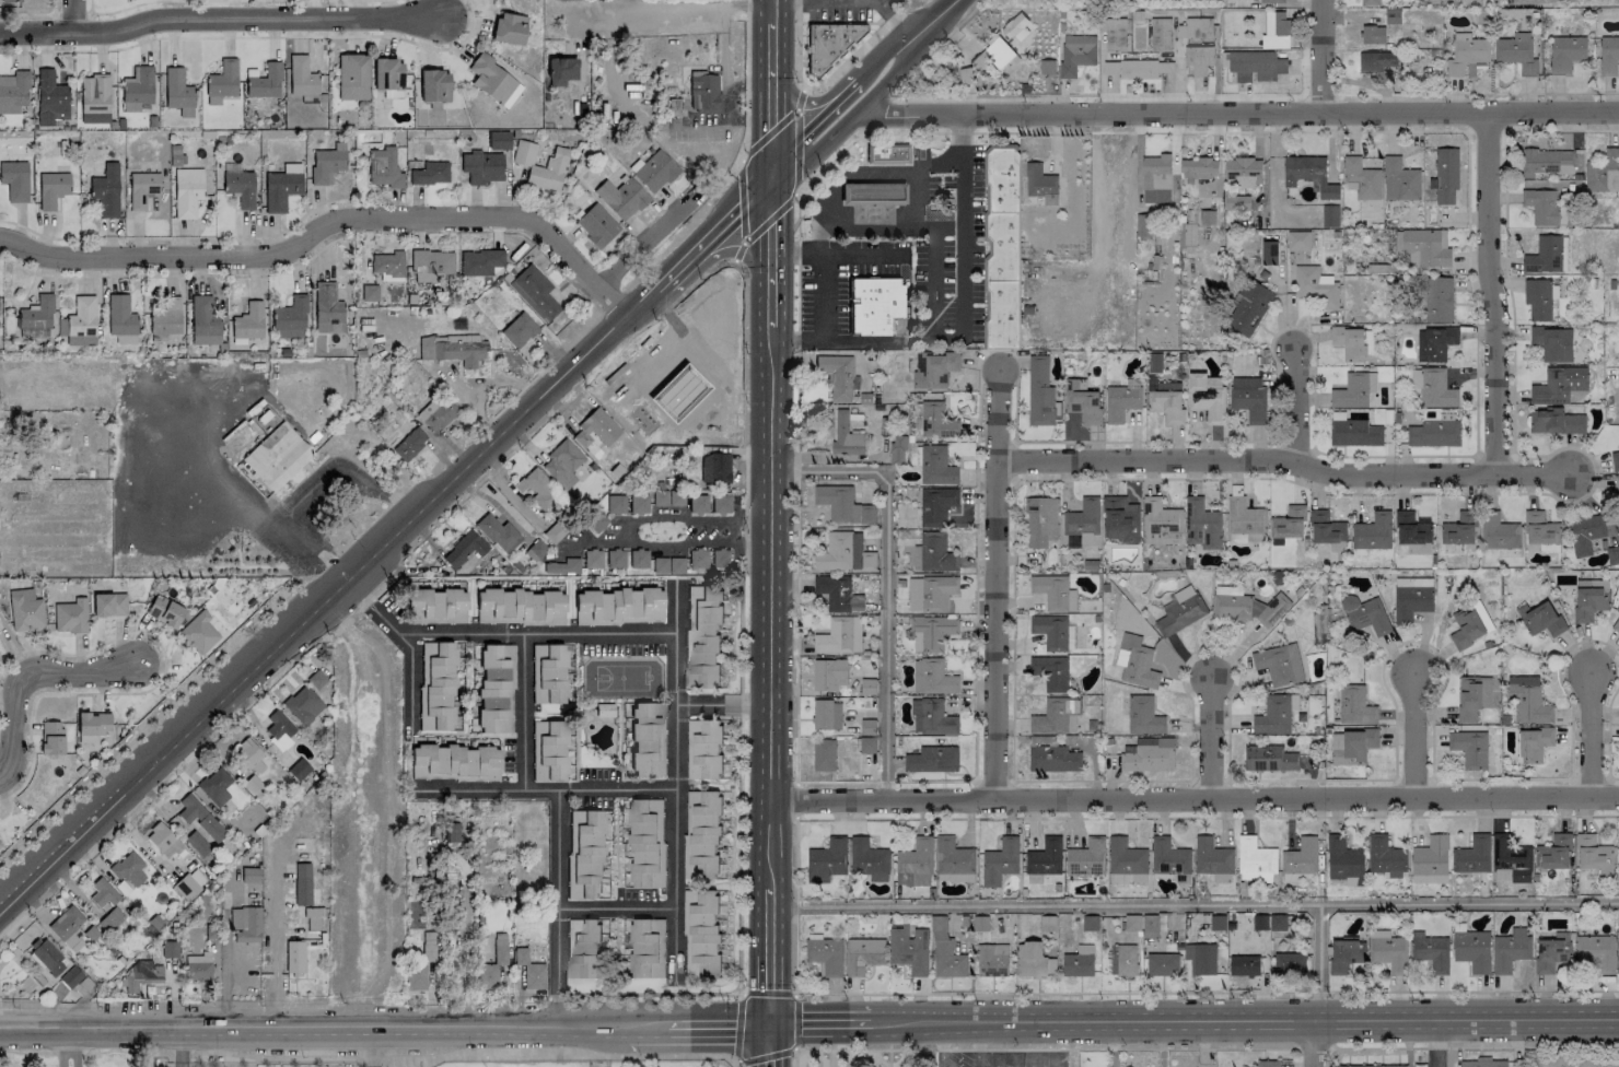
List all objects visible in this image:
building: (10, 0)
road: (787, 0)
building: (1271, 1)
building: (1370, 2)
road: (946, 3)
road: (120, 9)
road: (675, 10)
road: (31, 13)
road: (80, 15)
road: (890, 15)
road: (220, 17)
building: (509, 27)
building: (1198, 30)
road: (774, 31)
building: (1274, 31)
building: (1115, 33)
building: (1372, 34)
building: (1160, 35)
road: (896, 37)
road: (797, 44)
building: (828, 44)
building: (1516, 52)
building: (1075, 54)
building: (1466, 54)
building: (1565, 54)
building: (1608, 55)
road: (852, 56)
building: (994, 56)
road: (1319, 57)
building: (1198, 59)
building: (1375, 61)
road: (964, 62)
road: (1174, 66)
building: (1254, 66)
building: (1137, 69)
building: (560, 70)
road: (1100, 73)
building: (351, 77)
building: (387, 77)
building: (490, 79)
building: (302, 80)
building: (264, 81)
building: (221, 82)
building: (433, 85)
building: (136, 89)
road: (842, 89)
building: (13, 91)
road: (747, 91)
building: (177, 92)
building: (703, 93)
building: (50, 98)
building: (94, 98)
road: (802, 98)
road: (800, 99)
road: (865, 101)
road: (876, 114)
road: (1235, 114)
road: (774, 121)
road: (1483, 129)
road: (1560, 130)
road: (796, 134)
road: (767, 136)
building: (498, 139)
road: (796, 153)
building: (886, 154)
building: (1611, 157)
building: (1547, 162)
building: (326, 163)
road: (829, 163)
road: (886, 164)
building: (555, 165)
building: (481, 166)
building: (383, 167)
building: (1199, 168)
road: (871, 169)
building: (654, 172)
building: (1244, 172)
building: (430, 173)
building: (1308, 175)
building: (1445, 177)
building: (1155, 179)
building: (1361, 179)
building: (14, 180)
building: (1399, 180)
building: (1038, 181)
building: (238, 187)
building: (281, 187)
building: (51, 188)
building: (141, 188)
building: (105, 190)
building: (186, 191)
building: (870, 192)
building: (621, 198)
road: (741, 200)
building: (1236, 203)
building: (1541, 206)
road: (1094, 212)
road: (735, 216)
building: (1329, 216)
road: (768, 218)
building: (595, 222)
road: (946, 223)
road: (330, 225)
building: (1143, 225)
building: (1187, 233)
road: (774, 237)
building: (1297, 241)
road: (643, 244)
building: (1001, 247)
building: (1426, 247)
road: (736, 249)
building: (1269, 253)
road: (737, 254)
road: (859, 255)
building: (1545, 256)
building: (479, 261)
building: (386, 263)
building: (431, 265)
road: (676, 270)
building: (1315, 285)
building: (534, 291)
road: (1490, 294)
building: (1539, 298)
building: (1437, 300)
building: (873, 304)
building: (327, 308)
building: (1248, 308)
road: (930, 309)
building: (35, 318)
building: (166, 318)
building: (289, 318)
building: (120, 319)
building: (202, 320)
building: (81, 321)
building: (247, 321)
road: (825, 324)
building: (517, 330)
building: (455, 338)
road: (860, 340)
building: (1349, 342)
building: (1434, 343)
building: (1552, 343)
building: (451, 351)
road: (1475, 364)
building: (934, 370)
building: (838, 376)
building: (1559, 385)
building: (1167, 387)
building: (1433, 388)
building: (1353, 390)
building: (1039, 392)
building: (1207, 397)
building: (1248, 398)
building: (1082, 401)
building: (1120, 402)
building: (1166, 406)
road: (1295, 406)
building: (436, 412)
building: (936, 421)
building: (1556, 422)
building: (595, 430)
building: (1354, 433)
building: (1434, 433)
building: (846, 436)
building: (409, 444)
building: (276, 456)
building: (1615, 460)
road: (1282, 461)
building: (561, 464)
building: (935, 467)
building: (714, 468)
road: (352, 473)
building: (535, 486)
building: (1616, 494)
building: (866, 495)
building: (667, 497)
building: (615, 503)
building: (638, 503)
building: (697, 503)
building: (720, 503)
building: (842, 505)
building: (935, 506)
road: (228, 512)
road: (686, 519)
building: (1120, 519)
building: (1245, 519)
building: (1040, 521)
building: (1084, 523)
building: (1161, 523)
building: (1289, 524)
building: (1201, 525)
building: (1326, 528)
building: (1411, 529)
building: (1459, 529)
building: (1540, 529)
building: (1372, 532)
building: (1498, 532)
building: (498, 533)
building: (1585, 533)
road: (673, 542)
building: (464, 549)
building: (534, 549)
building: (845, 553)
building: (933, 553)
building: (1612, 555)
building: (592, 559)
building: (615, 559)
building: (638, 559)
building: (697, 559)
building: (720, 559)
building: (667, 565)
road: (307, 572)
road: (886, 582)
building: (1413, 582)
road: (994, 585)
building: (930, 593)
building: (1053, 593)
building: (838, 594)
building: (494, 601)
road: (331, 602)
building: (436, 602)
building: (550, 602)
building: (1411, 602)
building: (621, 603)
building: (1589, 603)
building: (108, 605)
building: (525, 605)
road: (771, 608)
building: (1249, 608)
building: (25, 609)
building: (164, 611)
road: (374, 611)
building: (1180, 611)
building: (1364, 614)
building: (70, 615)
building: (1542, 620)
building: (1469, 626)
building: (1616, 626)
building: (1318, 628)
building: (930, 632)
building: (1050, 632)
building: (197, 633)
road: (538, 635)
building: (702, 636)
building: (839, 636)
building: (1135, 663)
building: (1280, 664)
building: (548, 672)
building: (1050, 672)
building: (829, 675)
road: (21, 677)
building: (932, 677)
building: (316, 679)
road: (415, 682)
building: (439, 682)
building: (867, 687)
building: (491, 688)
building: (1472, 697)
building: (1527, 700)
building: (303, 704)
road: (724, 705)
building: (1354, 706)
road: (526, 713)
building: (826, 715)
building: (1053, 716)
building: (1143, 716)
building: (1273, 716)
building: (931, 717)
building: (93, 723)
road: (145, 724)
building: (867, 727)
building: (278, 729)
road: (1589, 736)
building: (50, 737)
road: (1414, 738)
road: (1210, 739)
building: (644, 740)
building: (1533, 743)
building: (866, 746)
building: (1351, 746)
road: (1607, 747)
building: (1469, 748)
building: (549, 749)
building: (703, 749)
building: (824, 754)
building: (249, 755)
building: (1150, 757)
building: (1052, 759)
building: (1269, 759)
building: (427, 760)
building: (932, 760)
building: (471, 761)
building: (298, 769)
road: (678, 779)
building: (214, 786)
road: (545, 792)
road: (1193, 799)
building: (199, 818)
road: (1119, 818)
building: (702, 835)
building: (452, 836)
building: (164, 841)
building: (643, 842)
building: (0, 843)
road: (562, 851)
building: (585, 853)
building: (1553, 853)
building: (1472, 855)
building: (1594, 855)
building: (916, 856)
building: (1255, 856)
building: (953, 857)
building: (1045, 857)
building: (1086, 857)
building: (1168, 857)
building: (1211, 857)
building: (1301, 857)
building: (1385, 857)
building: (1618, 857)
building: (1512, 858)
building: (869, 859)
building: (1127, 859)
building: (826, 860)
building: (1343, 860)
building: (1430, 860)
building: (1000, 861)
building: (129, 869)
building: (249, 875)
building: (1501, 875)
building: (189, 883)
building: (302, 883)
building: (102, 892)
road: (1195, 905)
road: (275, 910)
road: (620, 911)
road: (1, 913)
road: (1, 914)
building: (312, 918)
building: (1132, 923)
building: (1216, 923)
building: (1259, 923)
building: (1277, 923)
building: (245, 924)
building: (1150, 926)
building: (68, 928)
building: (701, 931)
building: (644, 947)
building: (170, 949)
building: (909, 949)
building: (1472, 950)
building: (1510, 950)
building: (1388, 951)
building: (1431, 951)
building: (945, 952)
building: (1551, 952)
building: (1596, 953)
building: (1618, 953)
building: (825, 954)
building: (47, 955)
building: (863, 955)
building: (1344, 955)
building: (293, 957)
building: (1200, 959)
building: (992, 960)
building: (1126, 960)
building: (1033, 961)
building: (1079, 962)
road: (1318, 962)
building: (419, 964)
building: (1162, 964)
building: (1289, 964)
road: (223, 965)
building: (1244, 965)
building: (197, 966)
building: (490, 969)
building: (526, 969)
road: (561, 969)
road: (771, 973)
building: (140, 975)
building: (70, 976)
road: (1207, 992)
road: (642, 994)
road: (736, 997)
road: (272, 1001)
road: (1195, 1021)
road: (385, 1028)
road: (1435, 1043)
road: (1161, 1044)
road: (1313, 1044)
road: (771, 1045)
road: (940, 1045)
road: (372, 1047)
road: (65, 1048)
road: (177, 1048)
road: (579, 1054)
road: (793, 1056)
road: (1000, 1059)
parking lot: (1006, 1059)
road: (975, 1063)
road: (1021, 1063)
road: (1061, 1063)
building: (1482, 1063)
building: (1268, 1064)
building: (1355, 1066)

